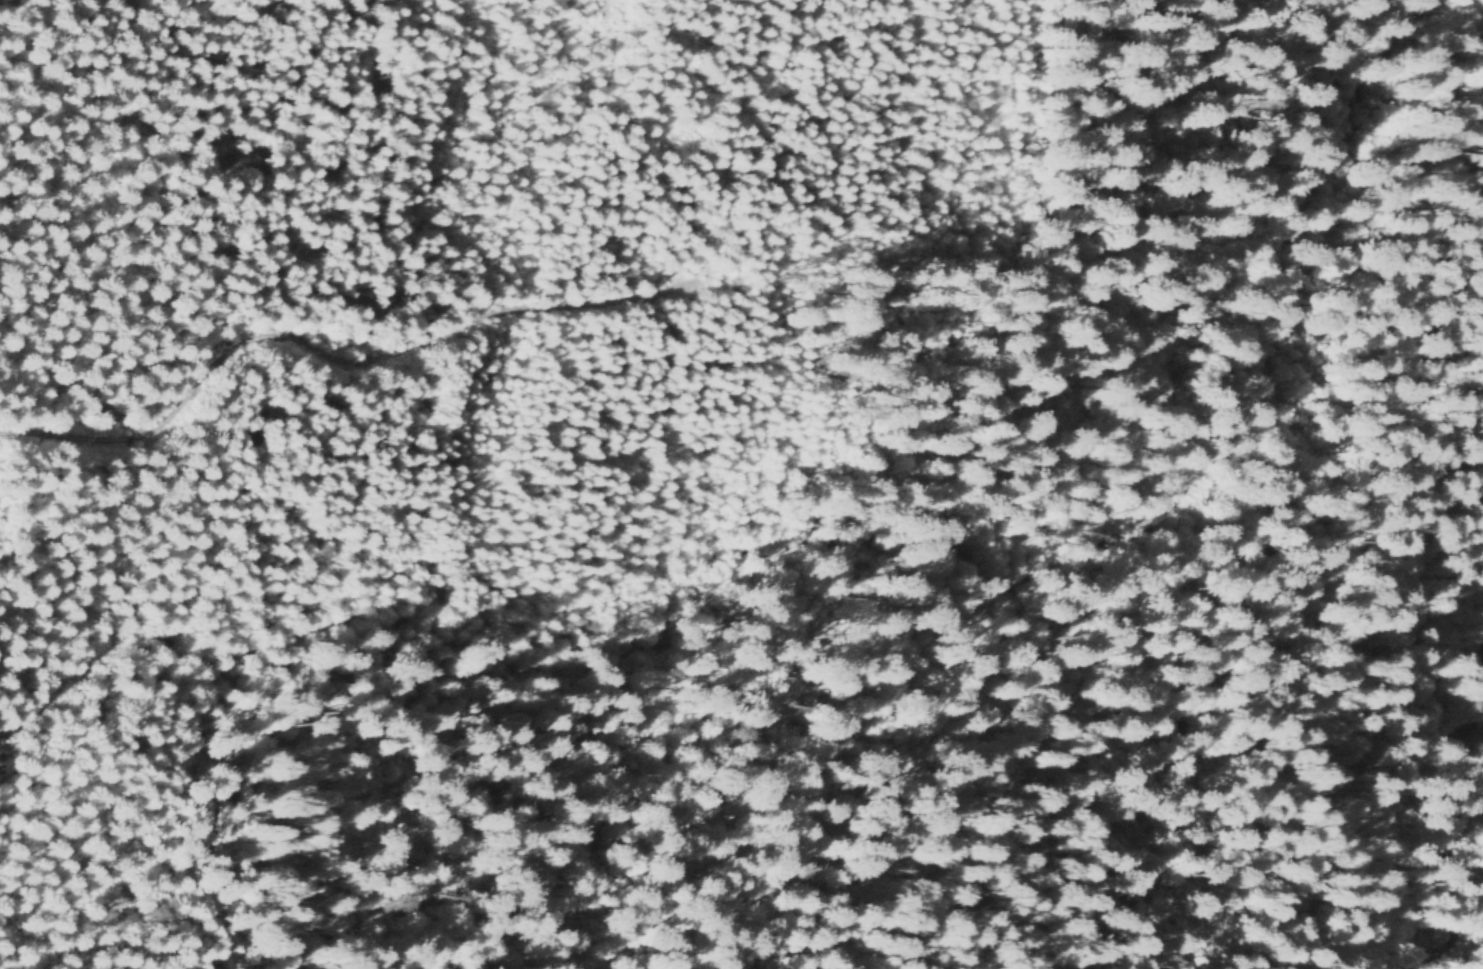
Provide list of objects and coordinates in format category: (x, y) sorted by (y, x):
road: (317, 353)

